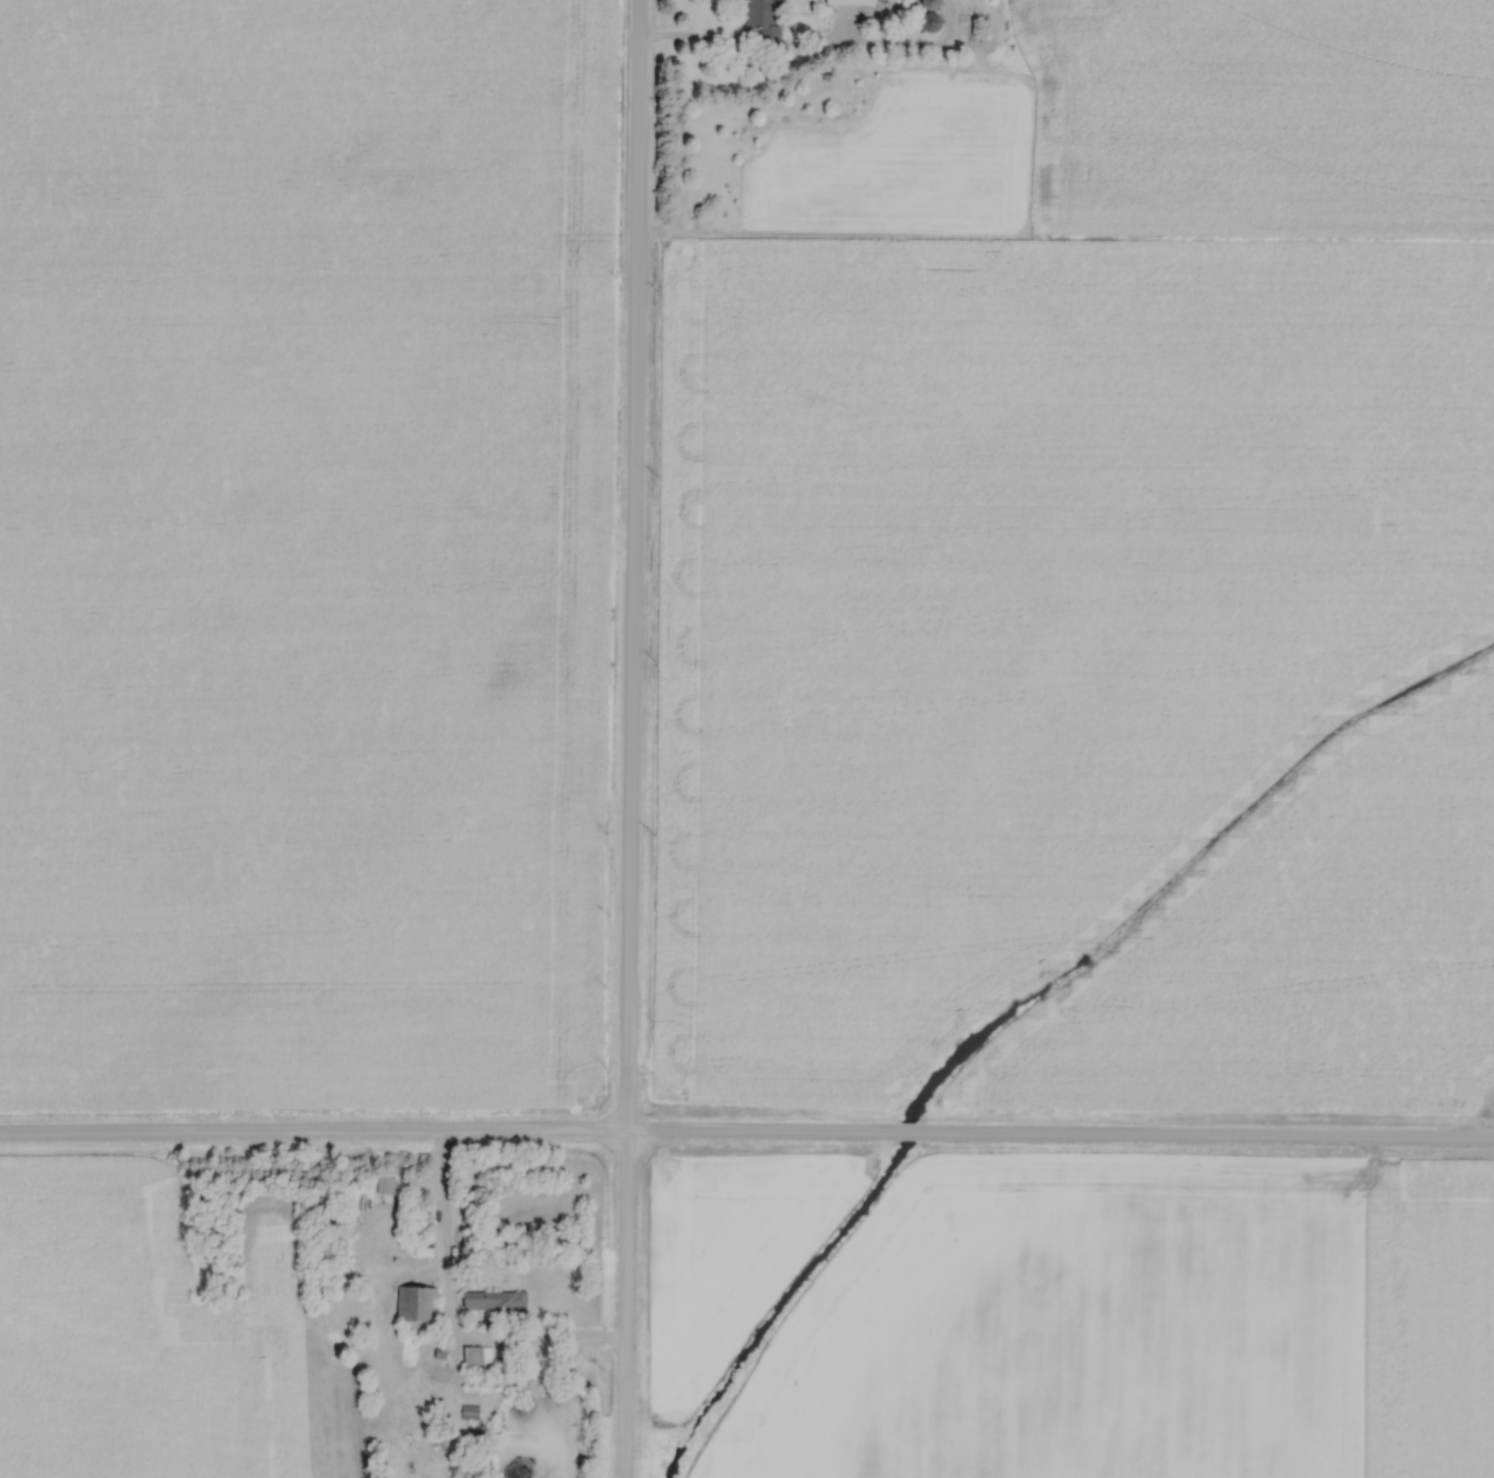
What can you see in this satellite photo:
building: (851, 2)
building: (930, 4)
building: (760, 14)
road: (629, 738)
road: (747, 1134)
building: (385, 1186)
road: (443, 1221)
building: (423, 1248)
building: (493, 1300)
building: (416, 1308)
building: (474, 1358)

